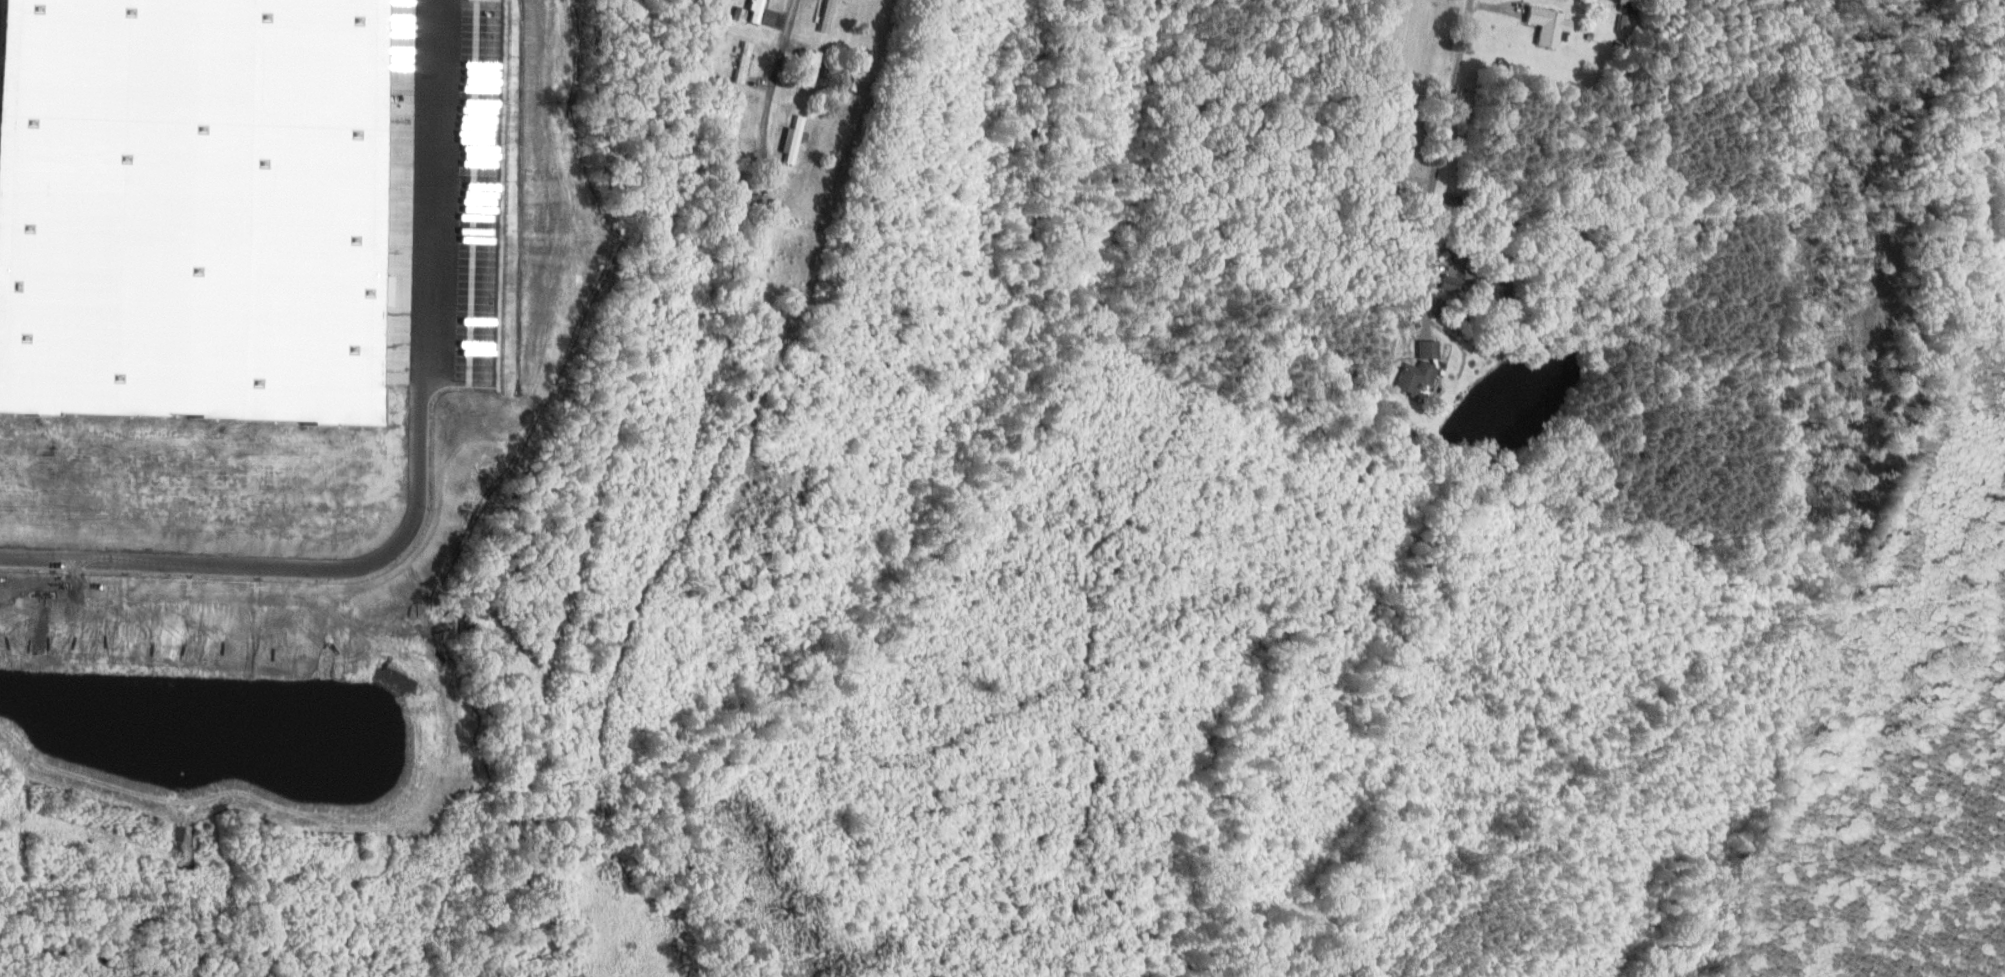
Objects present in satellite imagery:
building: (757, 13)
building: (822, 16)
building: (1543, 24)
building: (738, 62)
road: (779, 66)
building: (809, 68)
building: (790, 139)
road: (1442, 142)
building: (1448, 283)
building: (1415, 368)
road: (417, 474)

